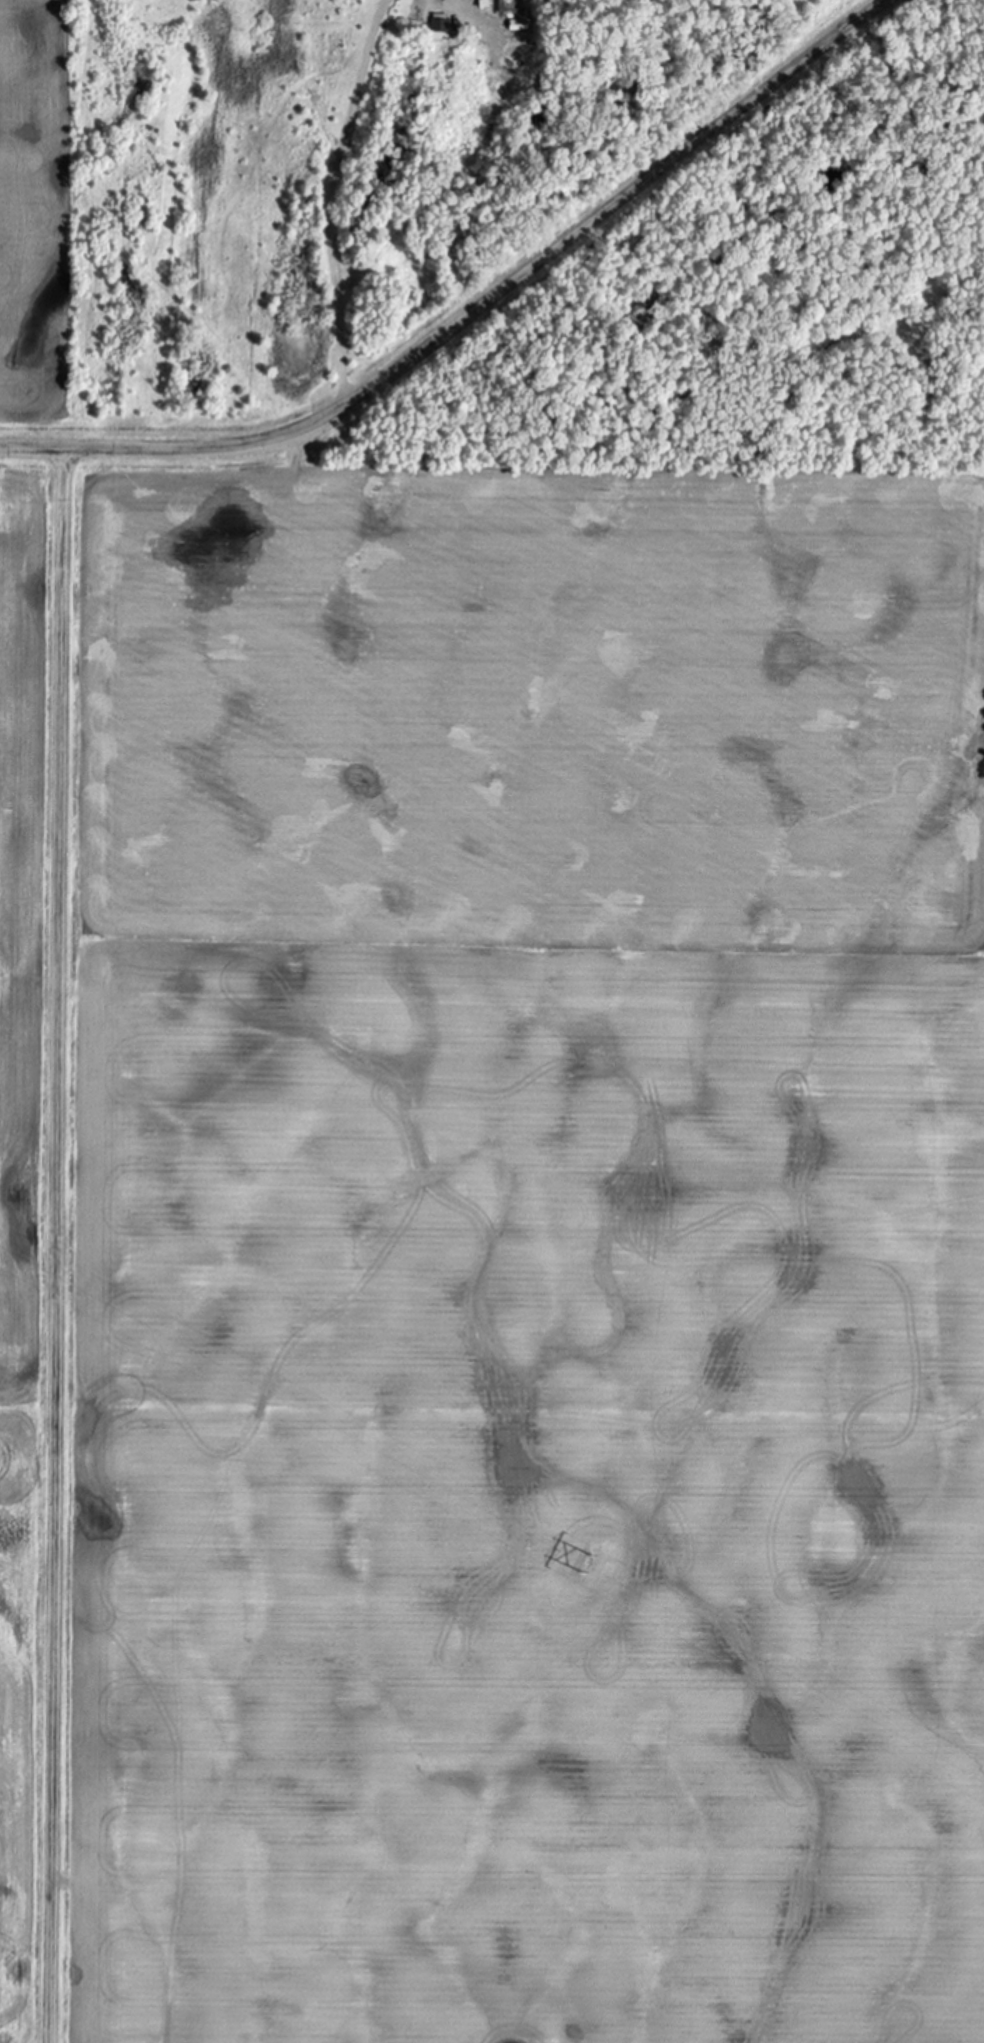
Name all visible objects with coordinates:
building: (439, 24)
road: (330, 196)
road: (472, 308)
road: (57, 1244)
power tower: (590, 1564)

